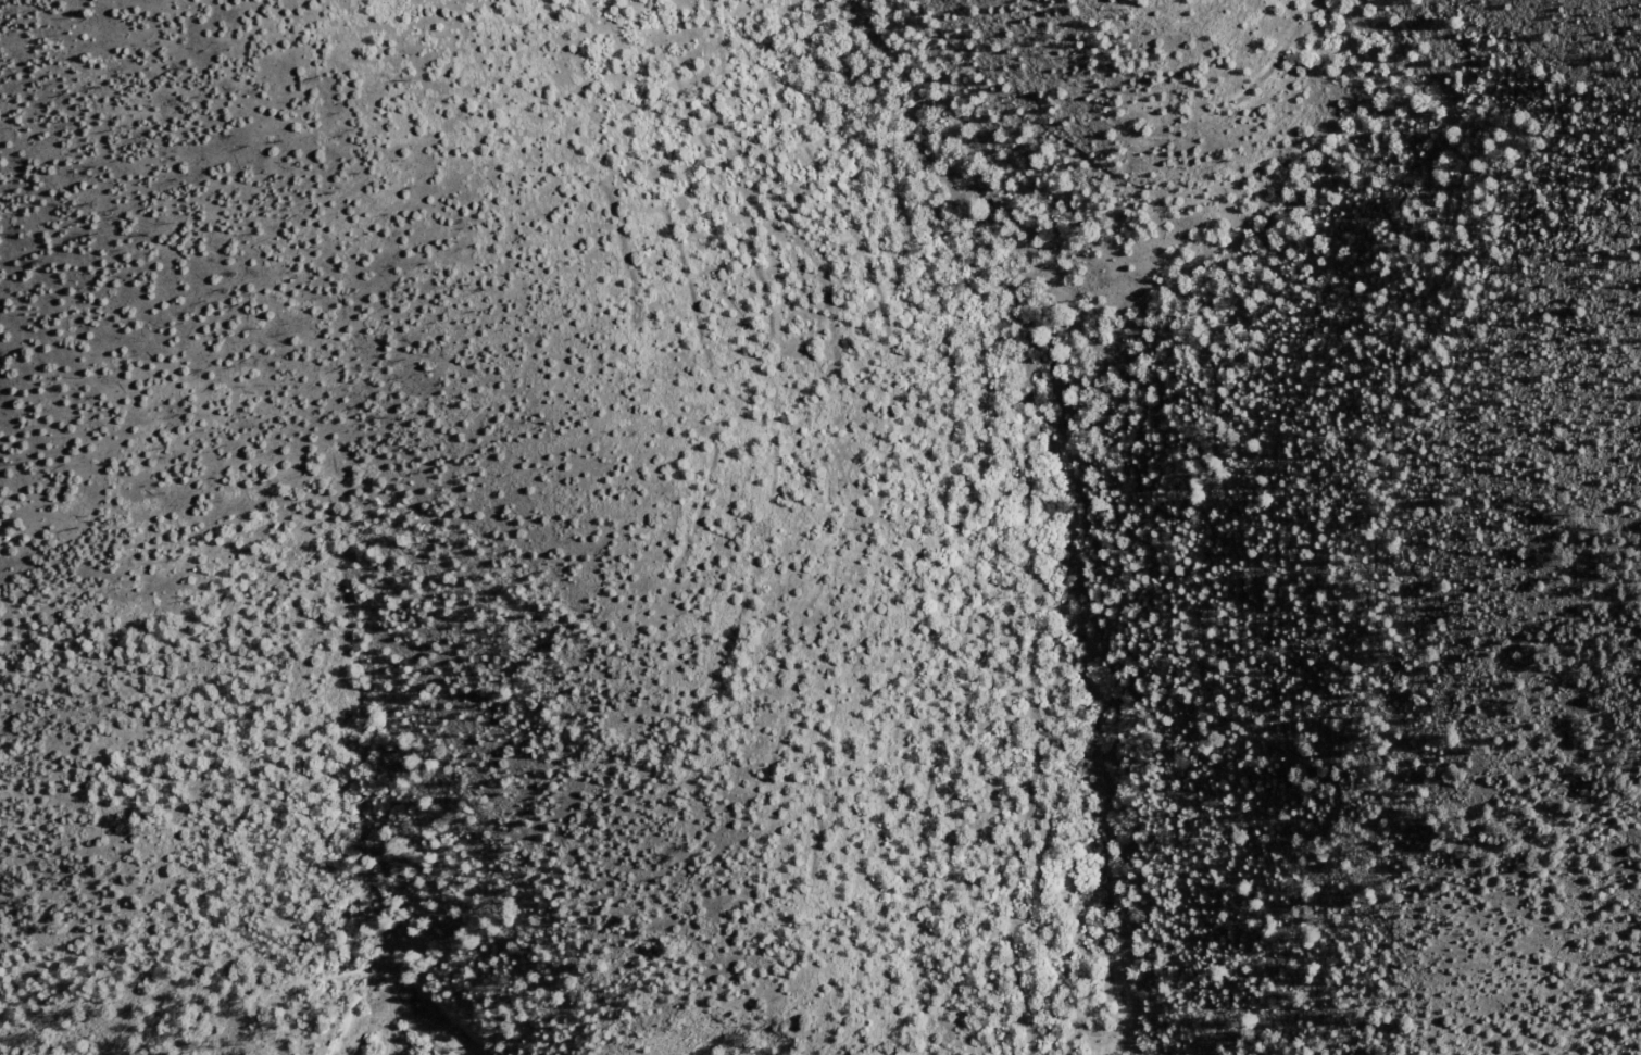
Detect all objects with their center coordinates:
road: (177, 855)

